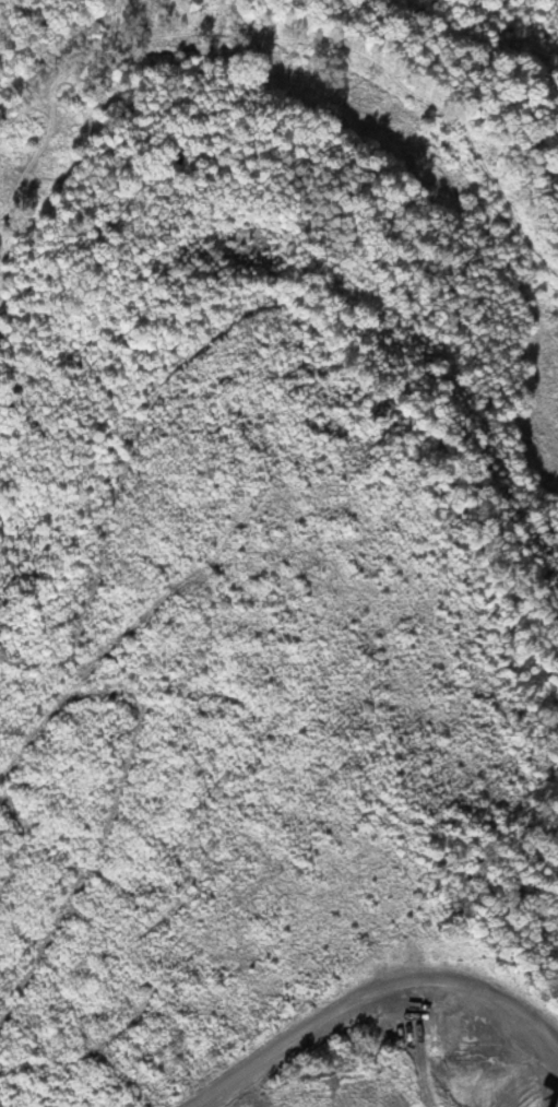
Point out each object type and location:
road: (316, 64)
road: (360, 980)

